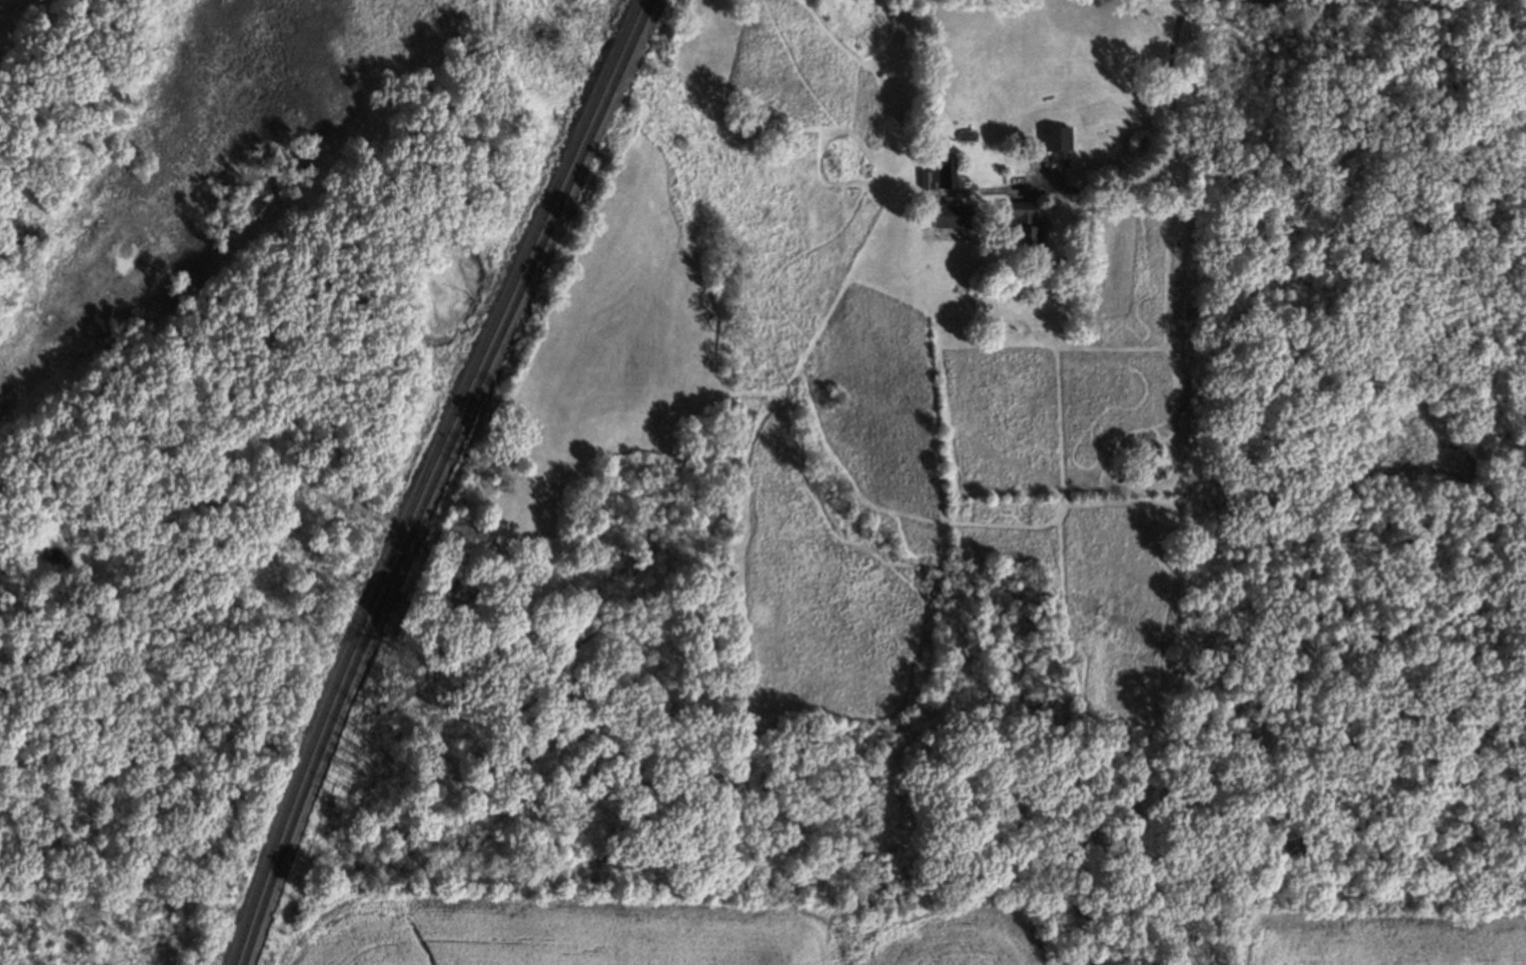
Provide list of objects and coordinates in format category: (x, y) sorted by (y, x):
building: (1057, 142)
road: (1162, 148)
building: (940, 174)
building: (951, 215)
building: (1026, 224)
railway: (424, 477)
railway: (435, 477)
crop: (680, 940)
crop: (1386, 942)

